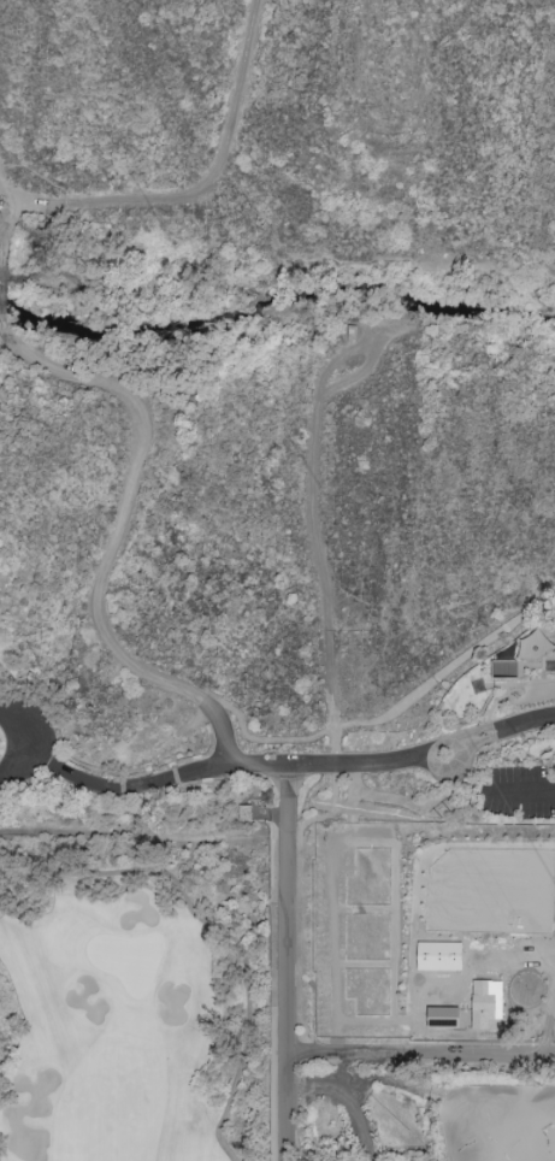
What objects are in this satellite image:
road: (188, 184)
road: (6, 235)
building: (350, 334)
road: (141, 422)
road: (315, 544)
building: (520, 653)
road: (391, 713)
road: (16, 726)
road: (224, 733)
road: (421, 752)
road: (228, 764)
road: (10, 768)
road: (94, 783)
road: (519, 788)
building: (243, 811)
power tower: (444, 811)
road: (333, 921)
road: (279, 962)
building: (485, 1003)
building: (442, 1016)
road: (418, 1051)
road: (344, 1097)

